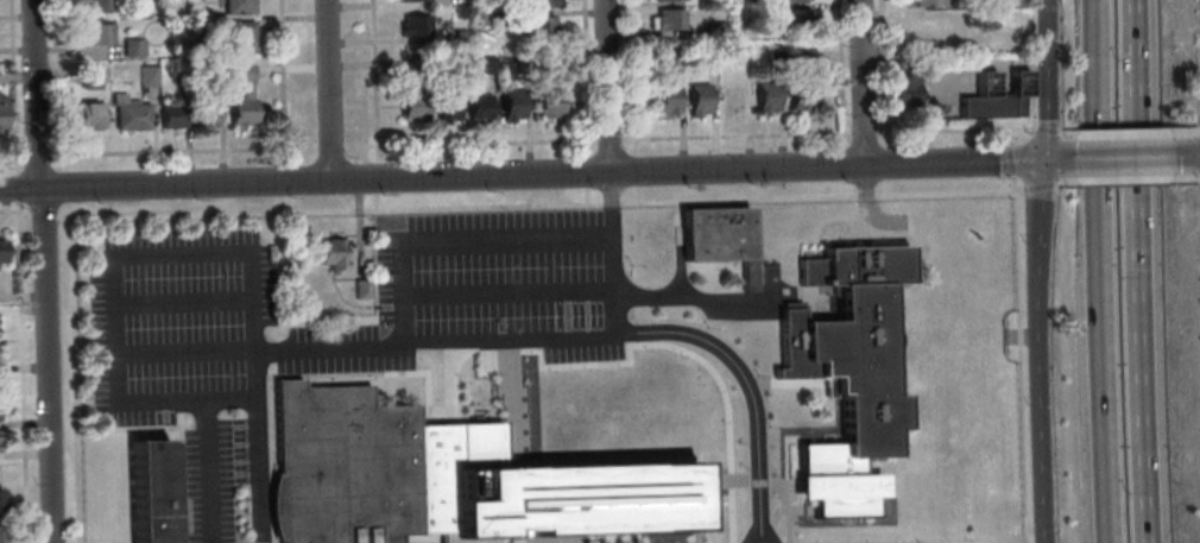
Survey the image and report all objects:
building: (670, 0)
building: (789, 0)
building: (926, 2)
building: (538, 4)
building: (94, 5)
building: (235, 6)
building: (493, 18)
building: (667, 19)
building: (795, 19)
building: (412, 25)
building: (537, 26)
building: (714, 26)
building: (187, 27)
building: (926, 27)
building: (95, 33)
building: (460, 34)
building: (236, 36)
building: (132, 46)
building: (672, 56)
building: (803, 57)
building: (775, 58)
building: (708, 61)
building: (548, 62)
building: (487, 64)
building: (519, 64)
building: (898, 64)
road: (1028, 64)
building: (411, 67)
building: (214, 74)
road: (880, 74)
road: (838, 75)
building: (146, 76)
road: (627, 77)
road: (585, 78)
building: (90, 80)
road: (282, 82)
road: (373, 82)
road: (860, 83)
road: (55, 84)
road: (605, 87)
road: (12, 88)
road: (327, 90)
building: (903, 91)
building: (801, 95)
building: (240, 96)
building: (764, 96)
building: (992, 96)
building: (664, 99)
building: (696, 99)
building: (409, 102)
building: (545, 102)
building: (509, 103)
building: (442, 106)
building: (475, 106)
building: (202, 108)
building: (1, 113)
building: (87, 114)
building: (170, 115)
building: (131, 116)
road: (953, 131)
road: (1043, 131)
road: (1198, 131)
road: (861, 133)
road: (1128, 133)
road: (1057, 135)
road: (735, 137)
road: (1004, 137)
road: (608, 141)
road: (469, 145)
road: (328, 149)
road: (182, 153)
road: (1198, 157)
road: (36, 158)
road: (1129, 158)
road: (11, 159)
road: (1006, 160)
traffic signals: (1042, 162)
road: (882, 163)
road: (840, 165)
road: (586, 172)
road: (633, 172)
road: (530, 175)
road: (1198, 177)
road: (1129, 179)
road: (374, 181)
road: (284, 183)
road: (1011, 184)
road: (882, 187)
road: (1036, 187)
road: (62, 188)
road: (839, 189)
road: (15, 190)
road: (636, 197)
road: (586, 198)
road: (374, 204)
road: (285, 207)
road: (533, 208)
road: (13, 213)
road: (42, 217)
road: (455, 235)
building: (720, 239)
building: (1, 250)
building: (331, 252)
road: (120, 254)
road: (611, 254)
road: (43, 271)
parking lot: (499, 271)
road: (1034, 271)
road: (1105, 271)
road: (1147, 271)
building: (360, 289)
road: (510, 292)
parking lot: (177, 310)
building: (0, 324)
parking lot: (324, 328)
road: (592, 336)
road: (20, 373)
road: (72, 373)
building: (846, 373)
road: (164, 402)
building: (0, 409)
building: (0, 440)
road: (257, 446)
building: (343, 467)
road: (206, 472)
parking lot: (209, 492)
building: (153, 493)
building: (539, 493)
building: (1, 499)
building: (0, 533)
road: (751, 536)

